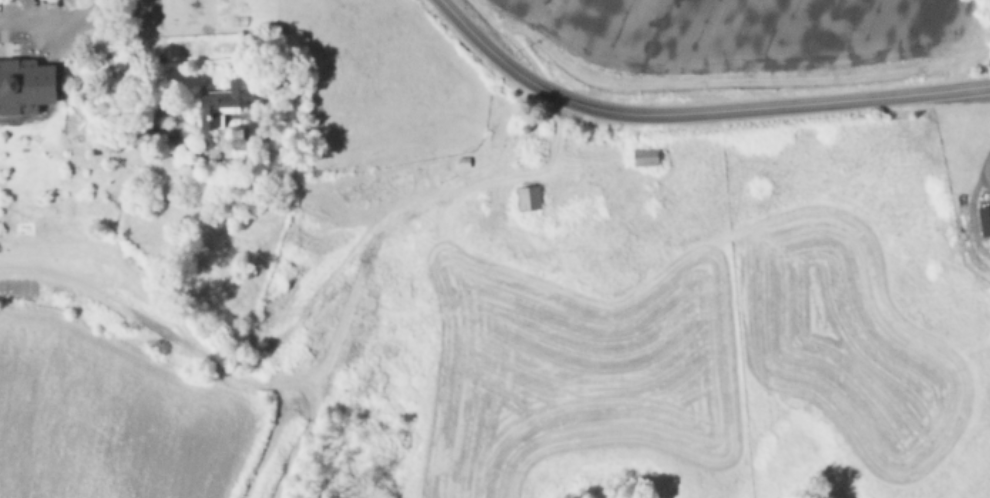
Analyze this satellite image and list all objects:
road: (32, 8)
road: (52, 16)
crop: (736, 40)
road: (107, 75)
building: (21, 80)
building: (221, 106)
road: (697, 111)
building: (238, 133)
building: (644, 156)
building: (510, 200)
road: (971, 201)
building: (984, 218)
crop: (197, 223)
crop: (709, 272)

